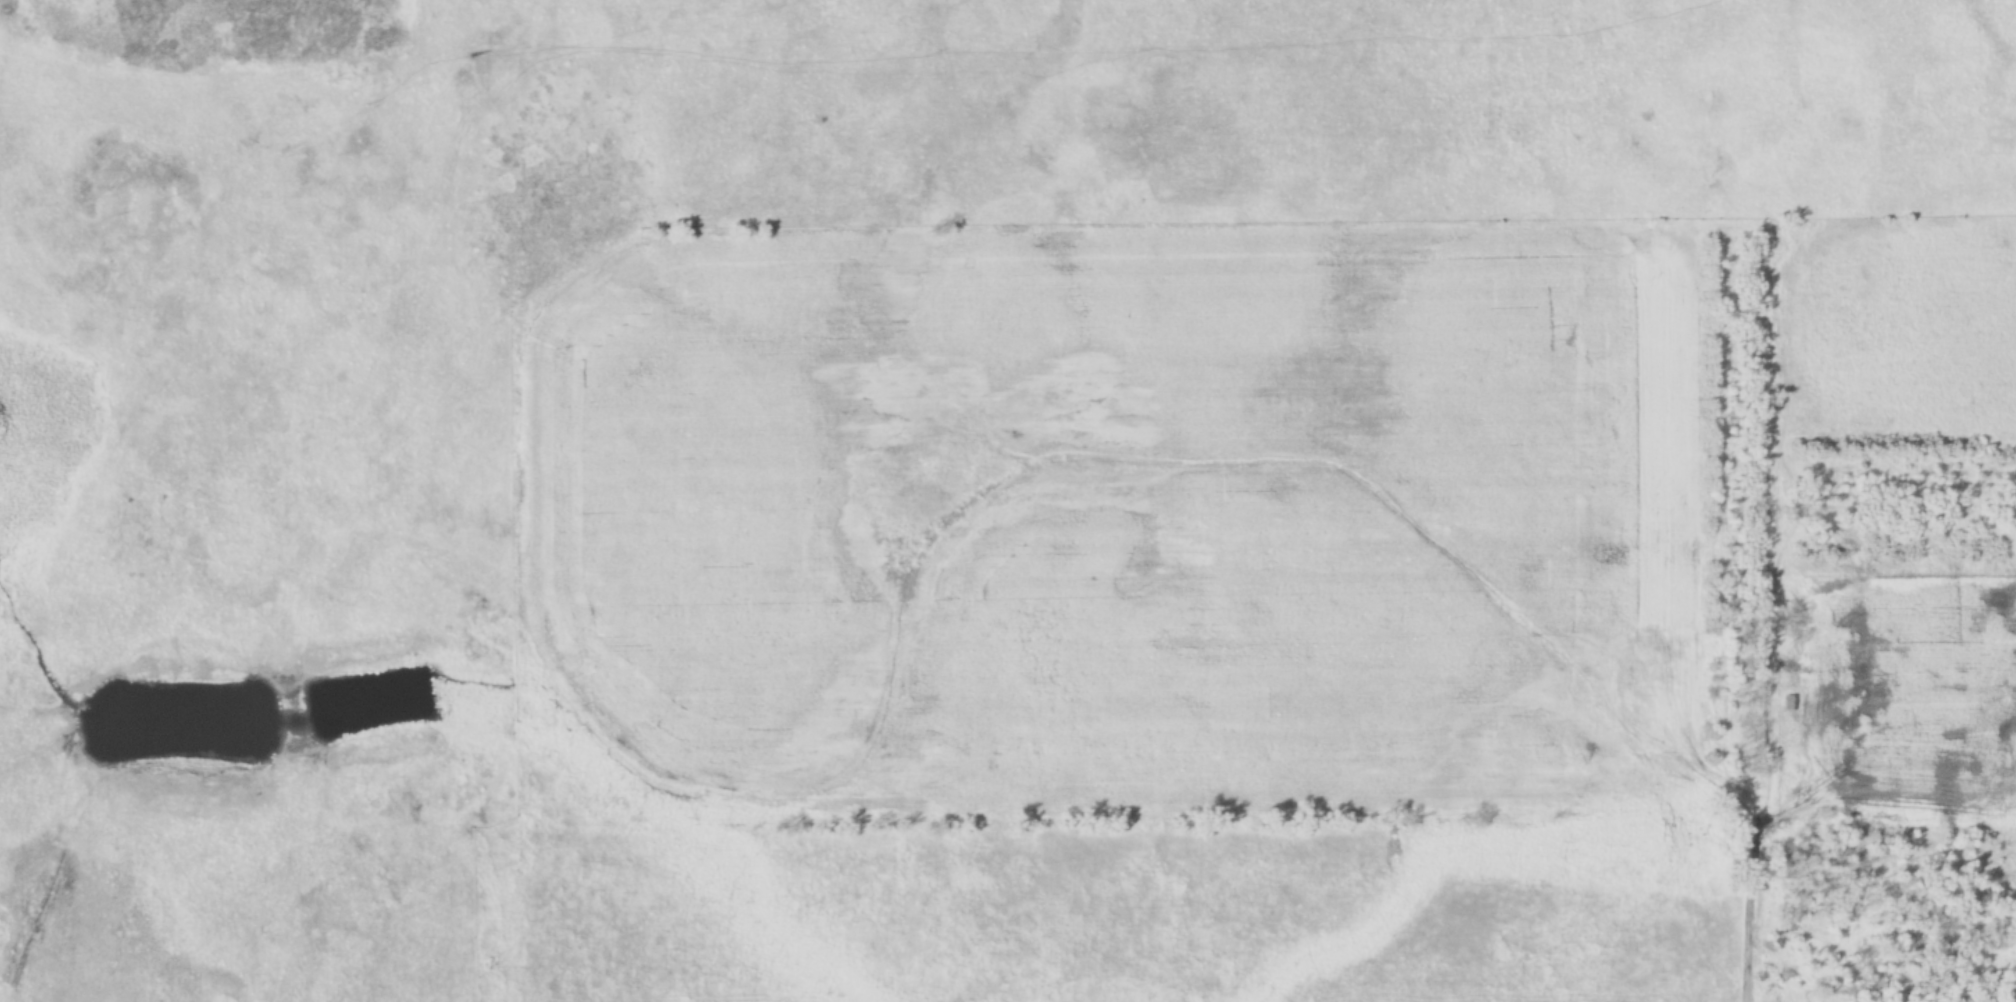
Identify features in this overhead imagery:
building: (1790, 703)

